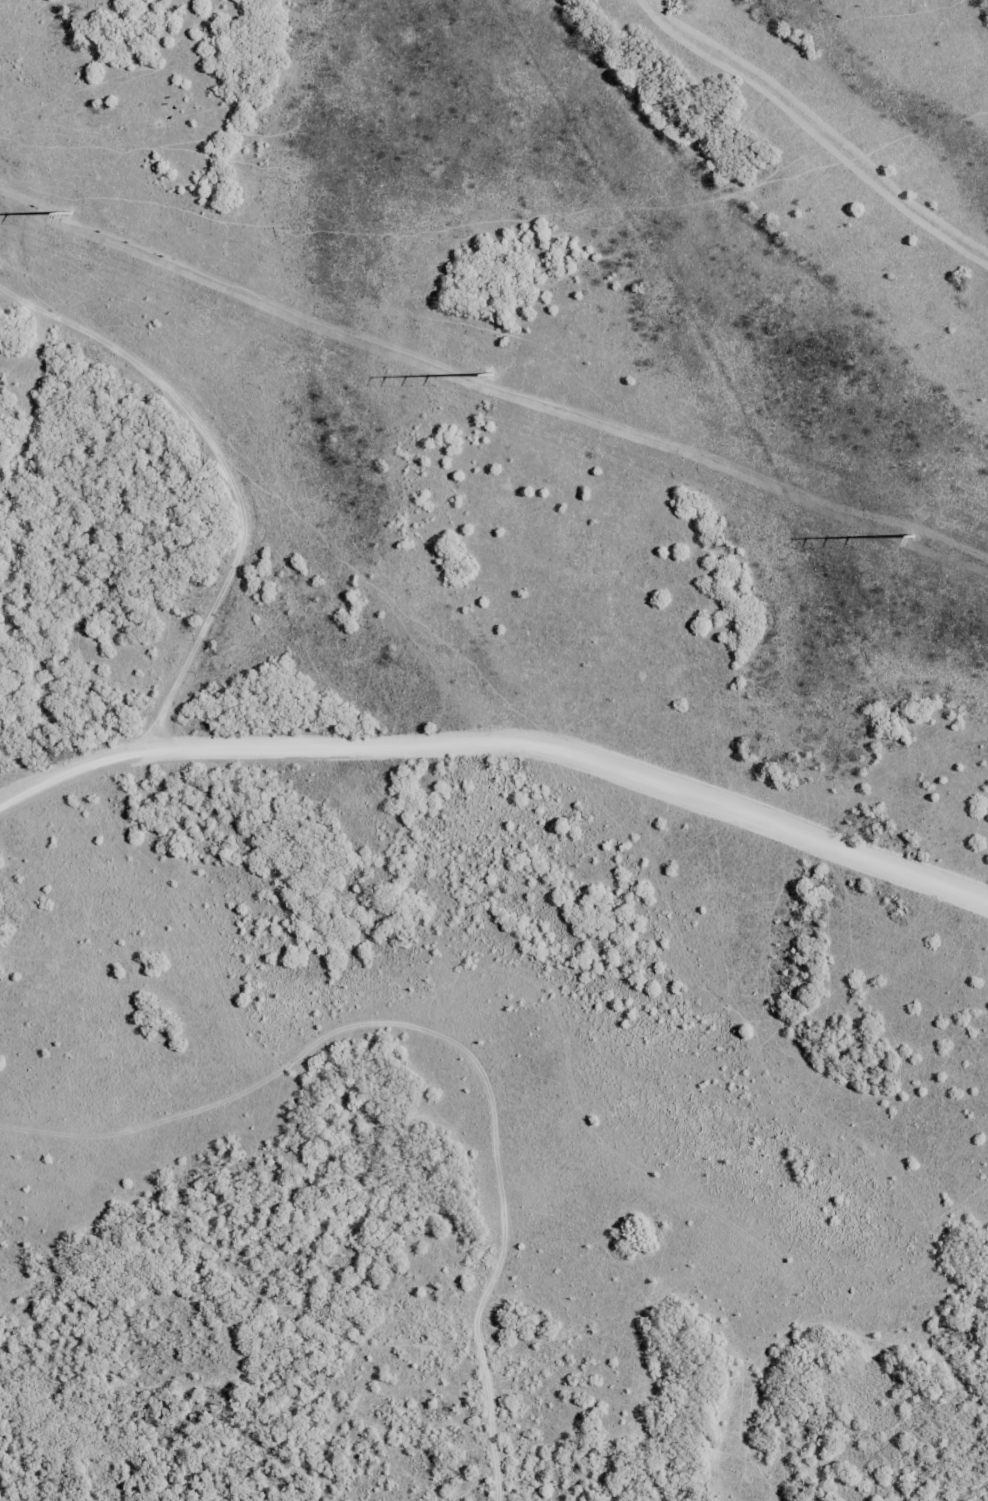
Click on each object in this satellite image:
power tower: (71, 216)
power tower: (499, 379)
road: (238, 451)
power tower: (916, 535)
road: (504, 712)

